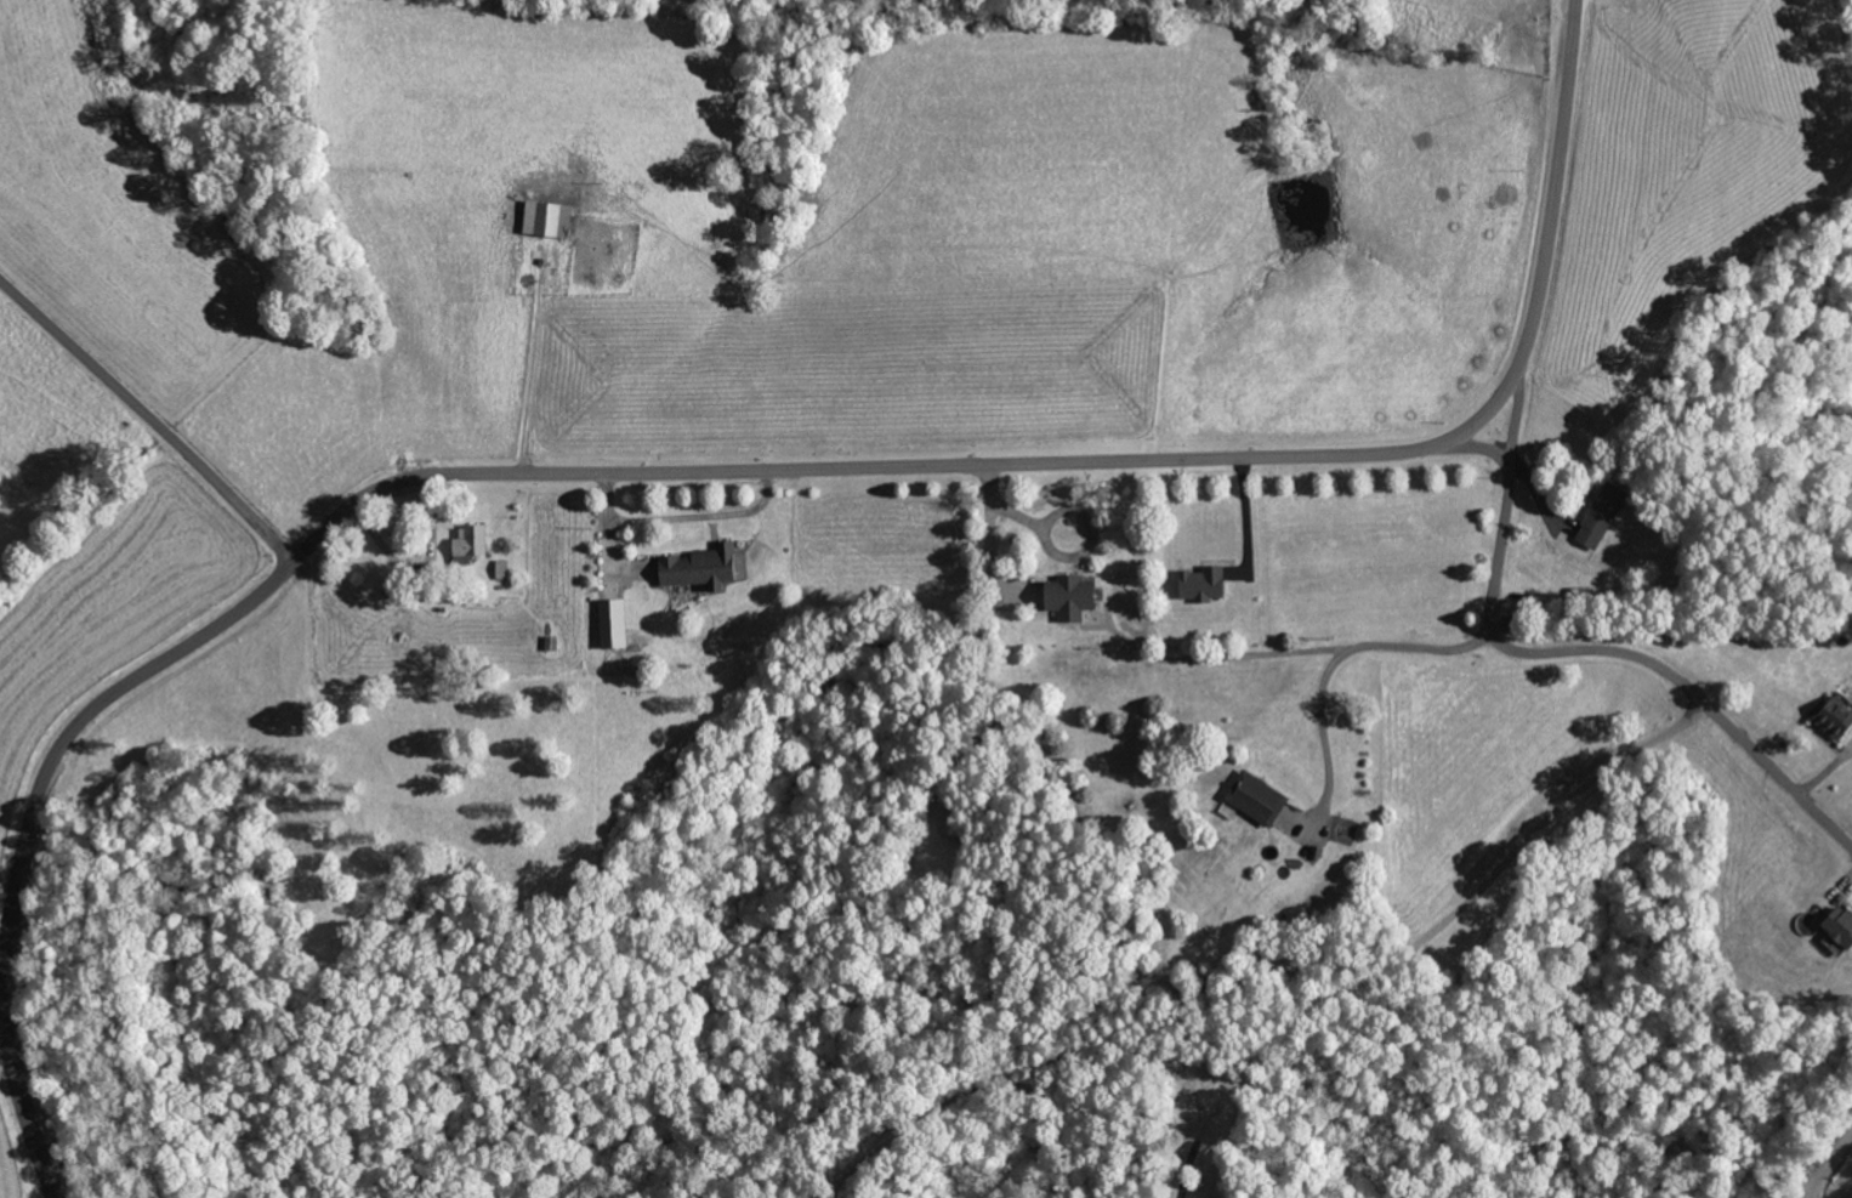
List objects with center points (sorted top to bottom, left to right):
building: (552, 220)
road: (147, 421)
road: (712, 472)
road: (1452, 499)
building: (1606, 517)
building: (473, 545)
building: (708, 569)
building: (504, 572)
building: (1206, 585)
building: (1074, 598)
road: (1604, 714)
building: (1831, 717)
building: (1261, 800)
building: (1835, 927)

